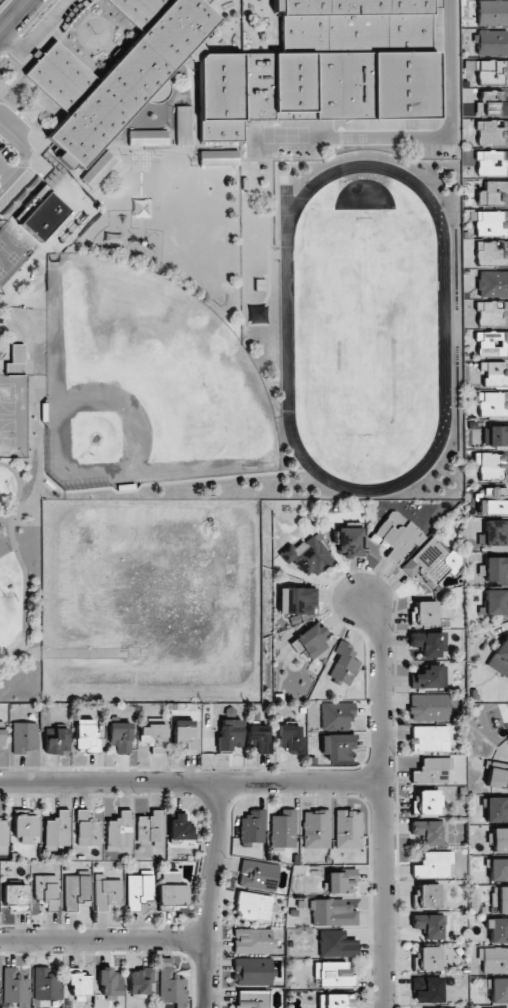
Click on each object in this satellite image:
building: (492, 12)
road: (14, 16)
road: (35, 36)
building: (492, 42)
building: (250, 66)
building: (492, 72)
building: (491, 104)
building: (183, 125)
building: (492, 133)
road: (419, 135)
building: (147, 138)
road: (26, 155)
building: (218, 158)
building: (492, 163)
building: (98, 169)
road: (5, 171)
building: (492, 193)
park: (33, 221)
building: (491, 223)
building: (492, 253)
building: (493, 284)
building: (492, 314)
track: (287, 328)
building: (492, 344)
building: (16, 361)
building: (494, 373)
park: (144, 382)
building: (492, 404)
park: (13, 417)
building: (495, 435)
building: (492, 466)
park: (19, 484)
building: (493, 501)
building: (494, 533)
building: (395, 535)
building: (349, 541)
building: (306, 556)
road: (20, 562)
building: (432, 562)
building: (496, 569)
building: (296, 601)
building: (496, 602)
building: (422, 613)
building: (311, 641)
building: (427, 643)
building: (500, 658)
building: (344, 663)
building: (429, 677)
building: (429, 707)
building: (336, 715)
building: (184, 733)
building: (229, 735)
building: (2, 736)
building: (85, 736)
building: (120, 736)
building: (507, 736)
building: (24, 737)
building: (152, 737)
building: (291, 738)
building: (429, 738)
building: (258, 739)
building: (57, 742)
building: (337, 746)
building: (432, 770)
building: (497, 775)
road: (189, 784)
road: (379, 797)
building: (426, 802)
building: (496, 809)
building: (25, 825)
building: (252, 826)
building: (151, 828)
building: (58, 829)
building: (87, 829)
building: (180, 829)
building: (316, 829)
building: (348, 829)
building: (283, 830)
building: (119, 831)
building: (427, 831)
building: (3, 836)
building: (499, 839)
building: (433, 864)
building: (498, 869)
building: (258, 875)
building: (341, 881)
building: (140, 889)
building: (47, 890)
building: (76, 890)
building: (107, 892)
building: (173, 892)
road: (209, 896)
building: (427, 896)
building: (15, 897)
building: (500, 898)
building: (254, 906)
building: (332, 913)
building: (428, 925)
building: (497, 929)
road: (102, 940)
building: (253, 941)
building: (336, 944)
building: (429, 958)
building: (493, 959)
building: (252, 971)
building: (333, 974)
building: (140, 981)
building: (110, 982)
building: (78, 983)
building: (46, 984)
building: (171, 987)
building: (15, 988)
building: (428, 990)
building: (499, 990)
building: (251, 999)
building: (335, 1001)
building: (486, 1007)

